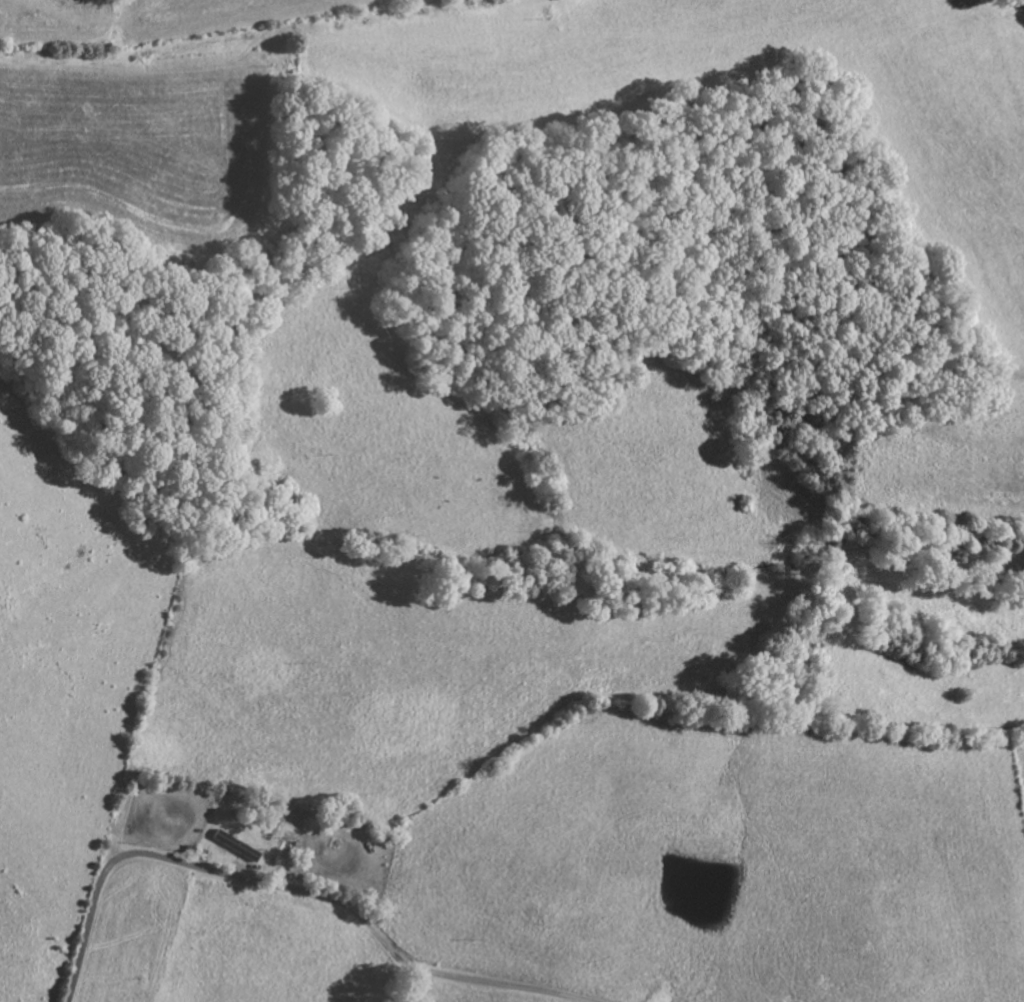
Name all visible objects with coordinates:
road: (293, 888)

